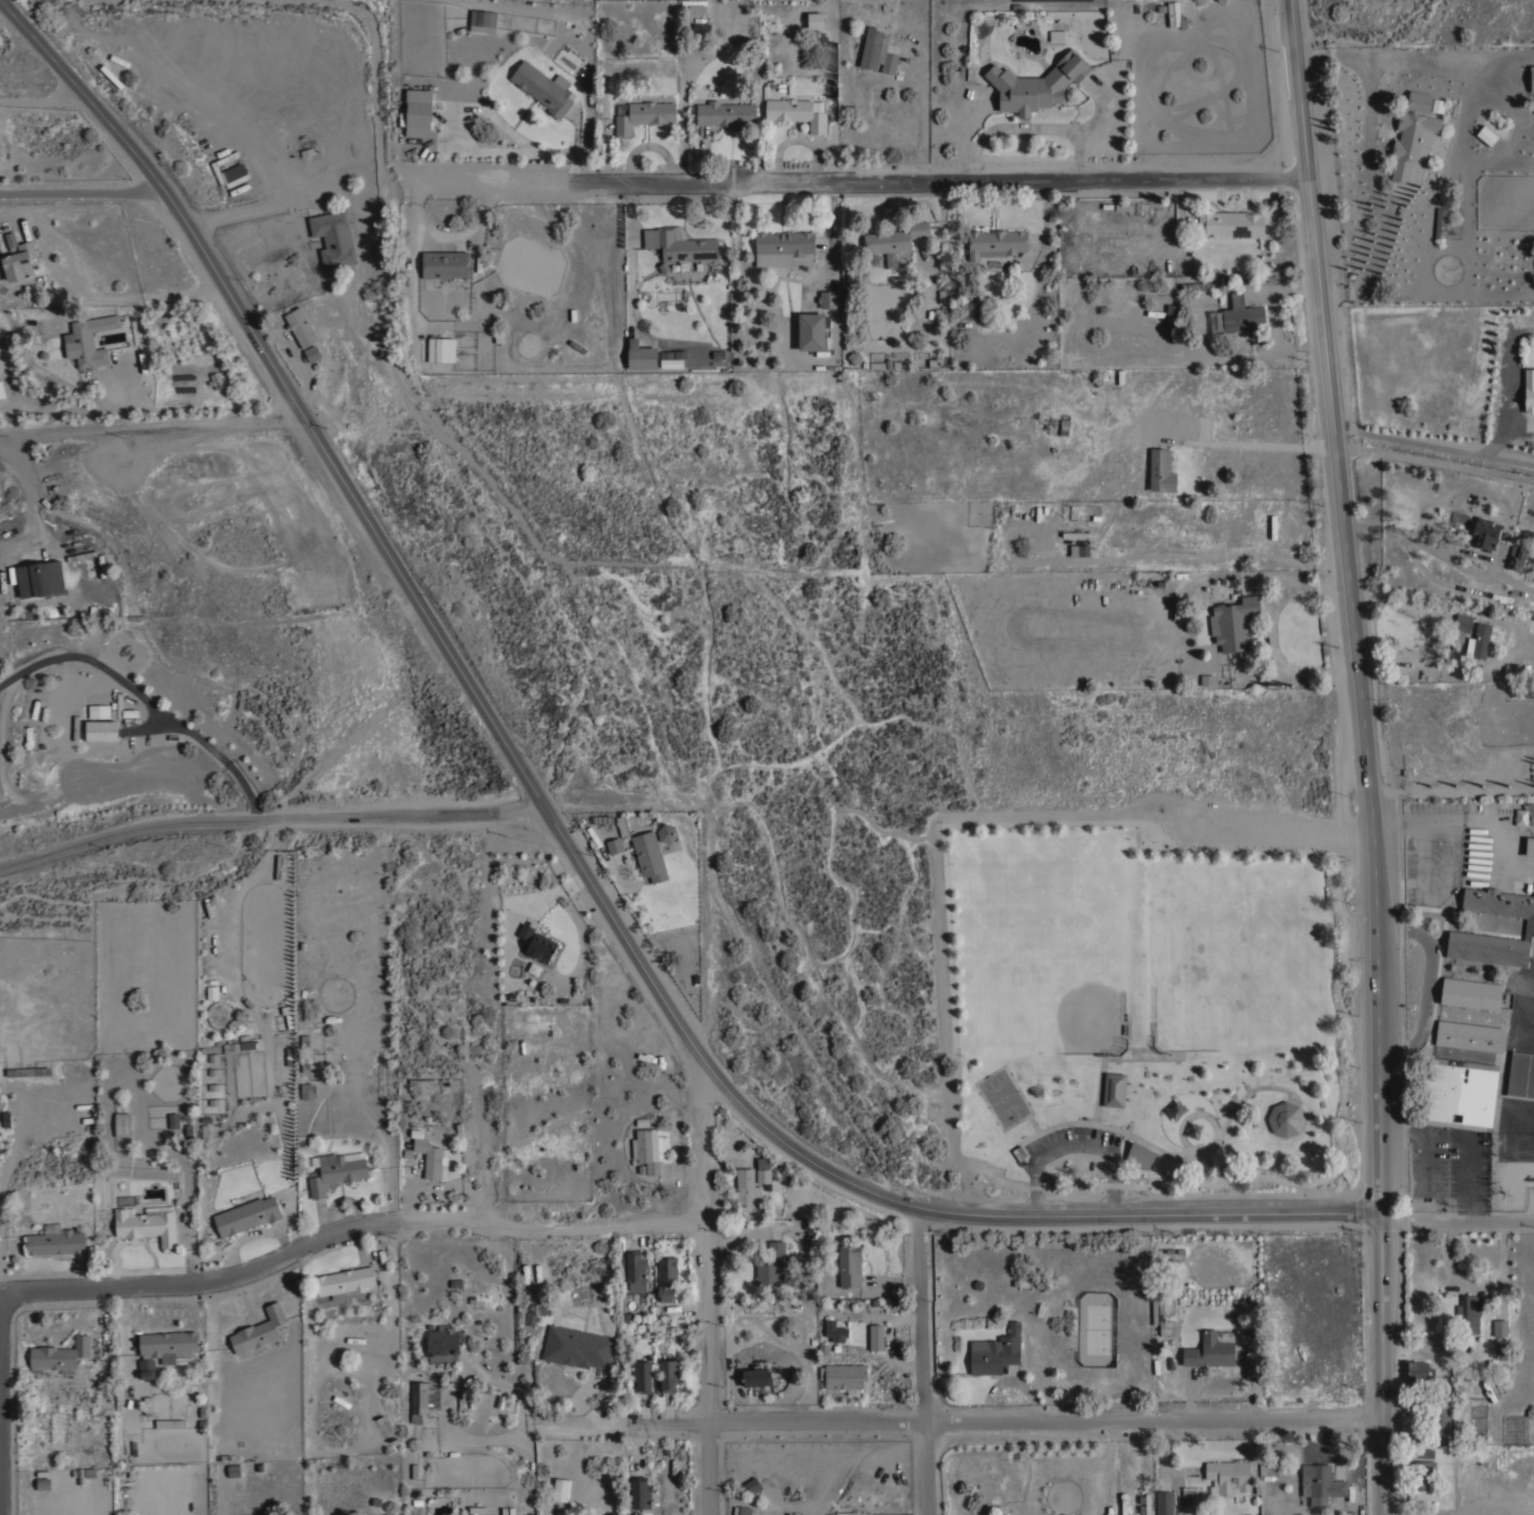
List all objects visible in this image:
park: (568, 2)
building: (482, 17)
building: (815, 21)
building: (701, 29)
building: (877, 51)
building: (1454, 53)
building: (1454, 60)
building: (1532, 78)
building: (1036, 85)
building: (542, 88)
road: (45, 101)
building: (1418, 101)
building: (416, 113)
building: (722, 113)
building: (795, 113)
building: (642, 115)
road: (925, 122)
building: (1499, 130)
building: (1486, 136)
building: (1411, 142)
building: (232, 172)
road: (906, 182)
road: (83, 194)
road: (251, 211)
building: (1437, 222)
building: (1230, 223)
building: (333, 238)
building: (895, 238)
building: (10, 240)
building: (995, 243)
building: (679, 245)
building: (781, 247)
building: (19, 262)
building: (445, 264)
building: (1197, 286)
road: (93, 296)
building: (828, 299)
building: (1173, 315)
building: (1238, 315)
building: (301, 327)
building: (811, 332)
building: (91, 340)
building: (441, 350)
building: (312, 353)
building: (673, 354)
building: (642, 357)
building: (853, 357)
road: (124, 389)
building: (1, 391)
building: (1529, 391)
road: (152, 425)
road: (1269, 448)
road: (1435, 462)
building: (1161, 471)
building: (1484, 533)
road: (1398, 534)
building: (1079, 550)
building: (81, 555)
building: (1518, 558)
building: (102, 564)
building: (38, 578)
building: (86, 582)
building: (87, 587)
road: (1353, 605)
building: (1533, 621)
building: (1233, 622)
building: (1462, 623)
road: (1431, 632)
road: (440, 633)
road: (1271, 635)
building: (1478, 641)
building: (1207, 680)
road: (145, 700)
building: (101, 730)
road: (146, 730)
road: (1452, 792)
building: (1524, 814)
road: (270, 817)
building: (602, 819)
building: (622, 825)
building: (666, 832)
building: (614, 845)
building: (1479, 846)
building: (1529, 846)
building: (1479, 854)
building: (649, 856)
building: (1479, 861)
building: (1478, 868)
building: (1529, 924)
building: (523, 931)
building: (539, 948)
road: (1425, 983)
building: (1471, 993)
park: (1160, 1003)
building: (1469, 1036)
building: (304, 1042)
building: (247, 1044)
building: (230, 1047)
building: (290, 1056)
building: (305, 1064)
building: (1520, 1075)
building: (421, 1081)
building: (1115, 1081)
park: (1005, 1090)
building: (306, 1091)
building: (1458, 1091)
building: (1285, 1119)
building: (173, 1120)
building: (122, 1124)
parking lot: (1073, 1135)
building: (646, 1149)
building: (1018, 1152)
building: (1139, 1155)
building: (431, 1156)
building: (336, 1171)
building: (767, 1175)
building: (747, 1187)
road: (1151, 1211)
road: (1458, 1213)
building: (247, 1215)
building: (147, 1225)
road: (549, 1228)
building: (56, 1242)
road: (297, 1251)
building: (771, 1264)
building: (849, 1265)
building: (636, 1271)
building: (666, 1277)
building: (345, 1282)
road: (94, 1288)
road: (705, 1290)
building: (534, 1313)
building: (1468, 1314)
building: (258, 1330)
building: (834, 1330)
building: (1501, 1335)
building: (876, 1337)
building: (443, 1344)
building: (167, 1345)
building: (577, 1347)
building: (1211, 1349)
building: (59, 1354)
building: (993, 1354)
road: (925, 1362)
road: (1380, 1363)
building: (1496, 1366)
building: (146, 1368)
building: (1419, 1372)
building: (669, 1375)
building: (757, 1375)
building: (641, 1376)
building: (844, 1376)
road: (449, 1395)
building: (423, 1399)
building: (462, 1403)
building: (1439, 1419)
building: (170, 1422)
road: (1004, 1422)
road: (577, 1425)
building: (1427, 1453)
building: (233, 1470)
building: (1422, 1473)
building: (1227, 1476)
building: (43, 1483)
building: (1320, 1484)
building: (753, 1485)
building: (560, 1489)
building: (640, 1493)
building: (1191, 1497)
building: (1163, 1502)
building: (1147, 1505)
building: (742, 1510)

